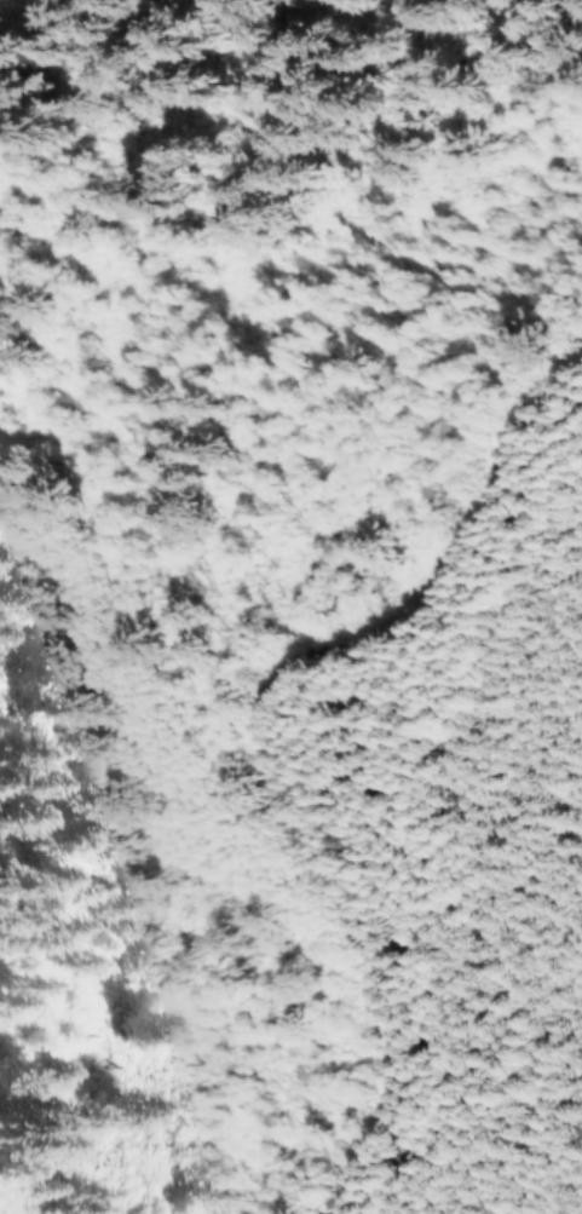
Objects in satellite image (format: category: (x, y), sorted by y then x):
road: (271, 738)
road: (134, 771)

